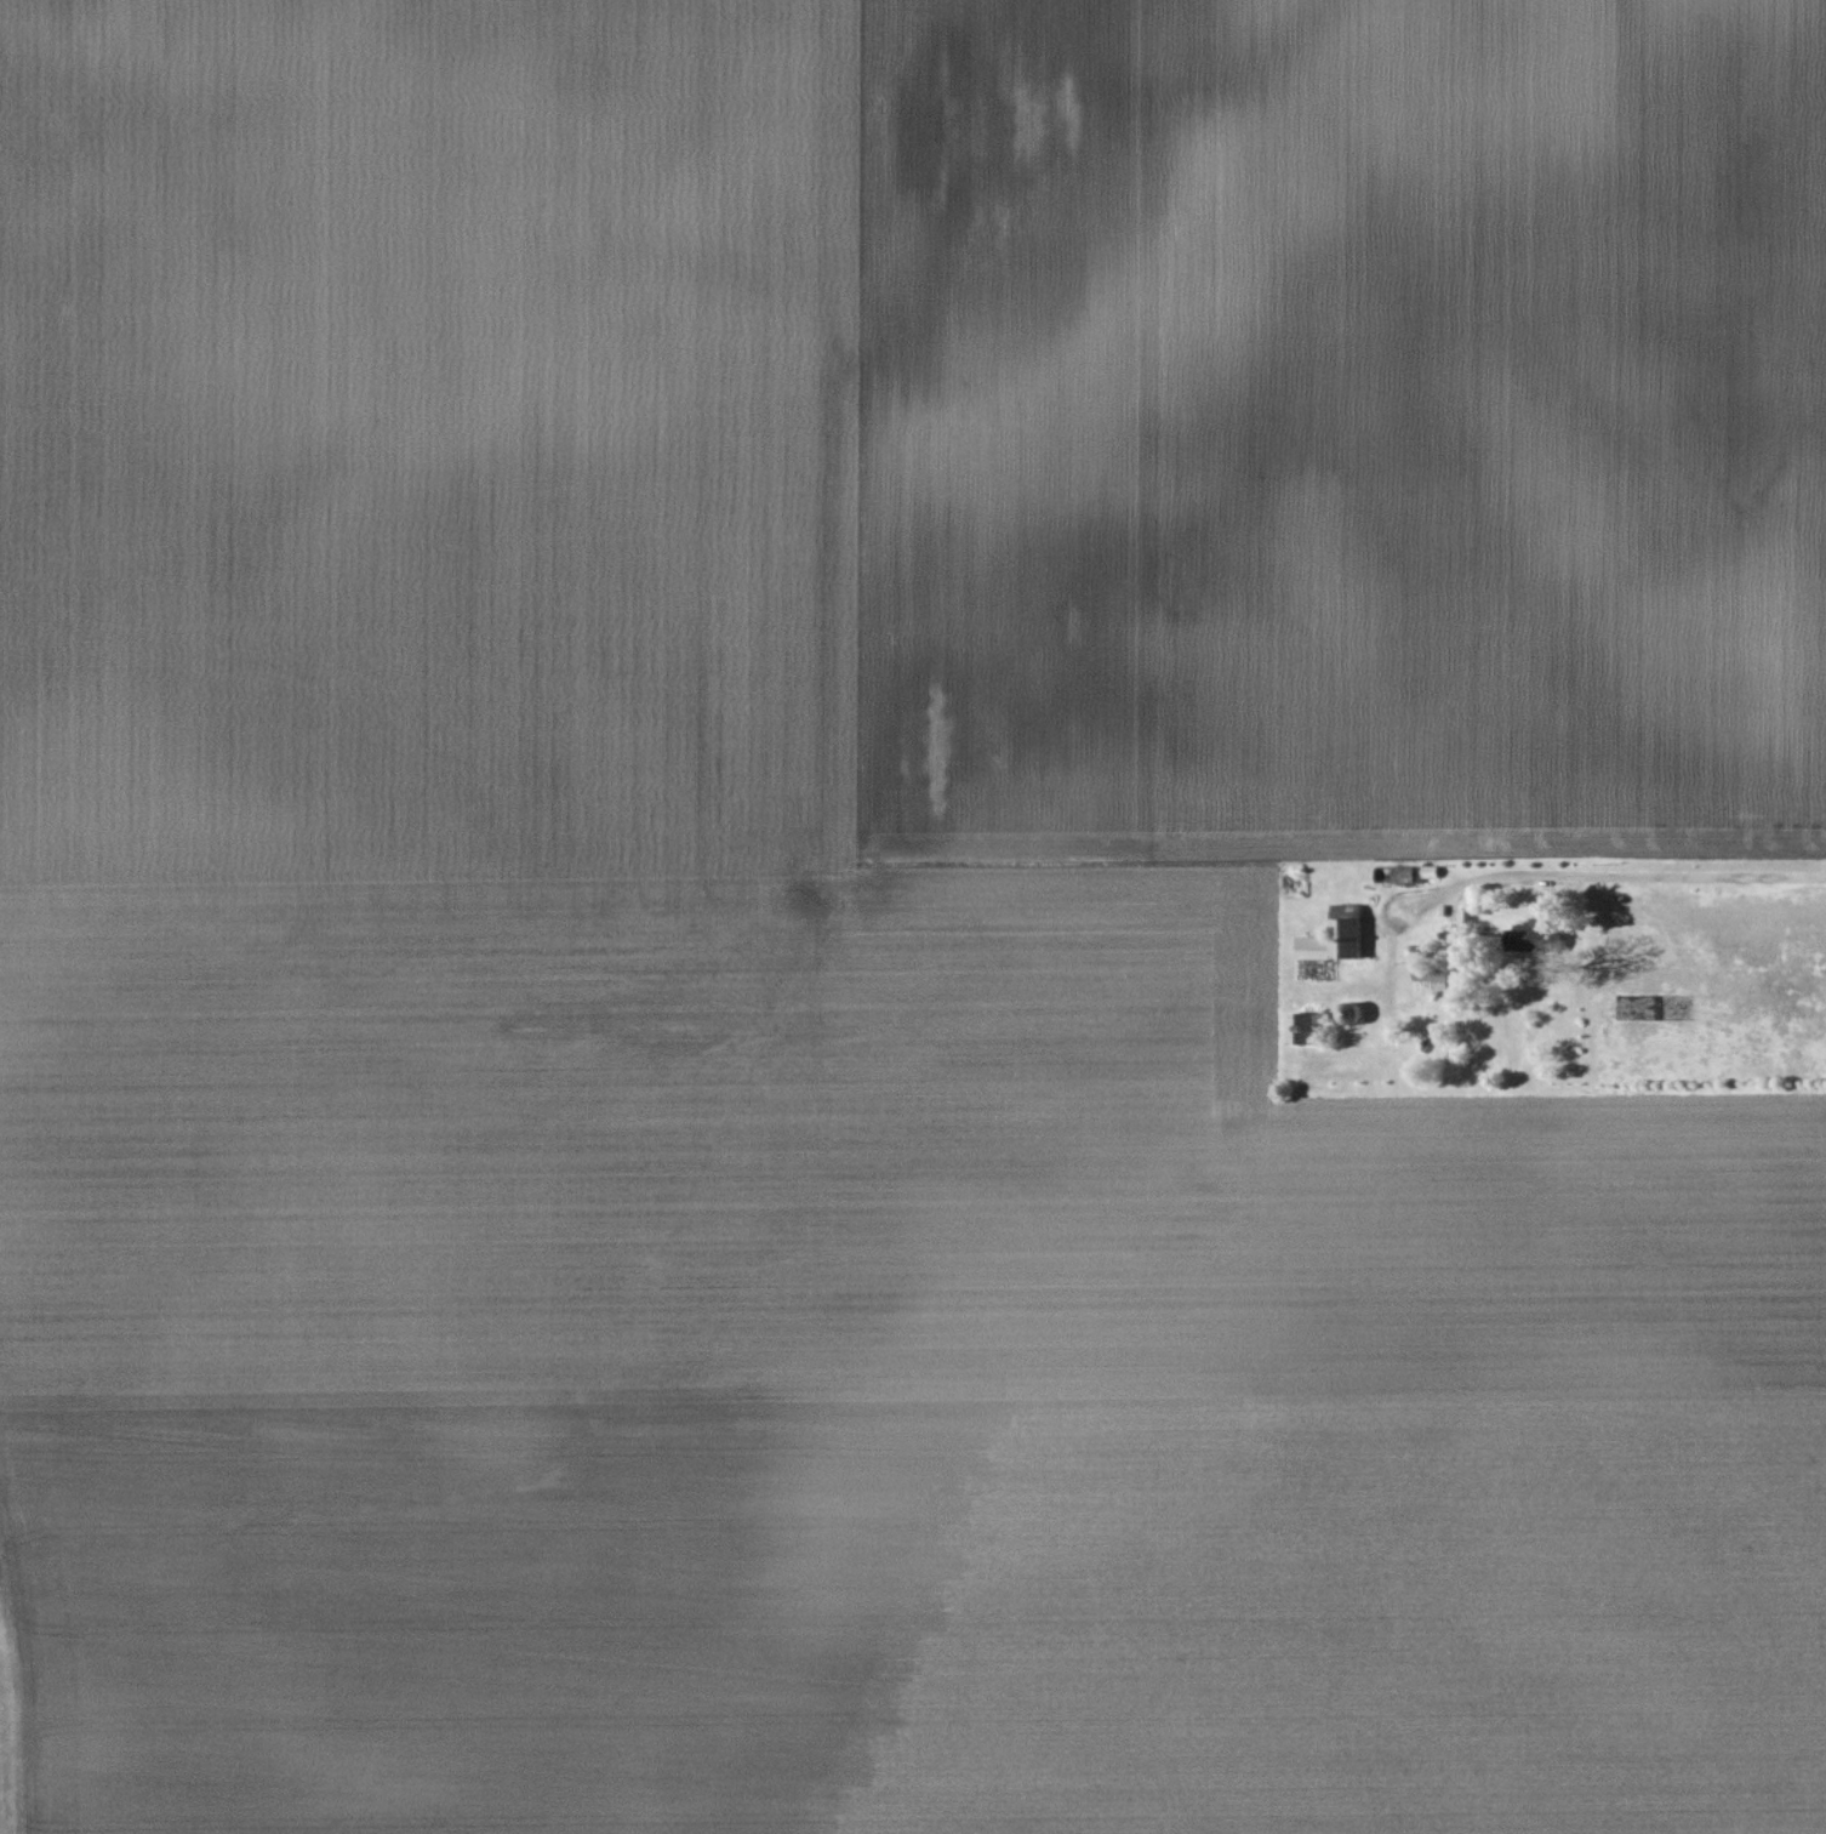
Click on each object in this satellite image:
road: (1632, 877)
building: (1339, 936)
building: (1434, 973)
building: (1302, 1025)

